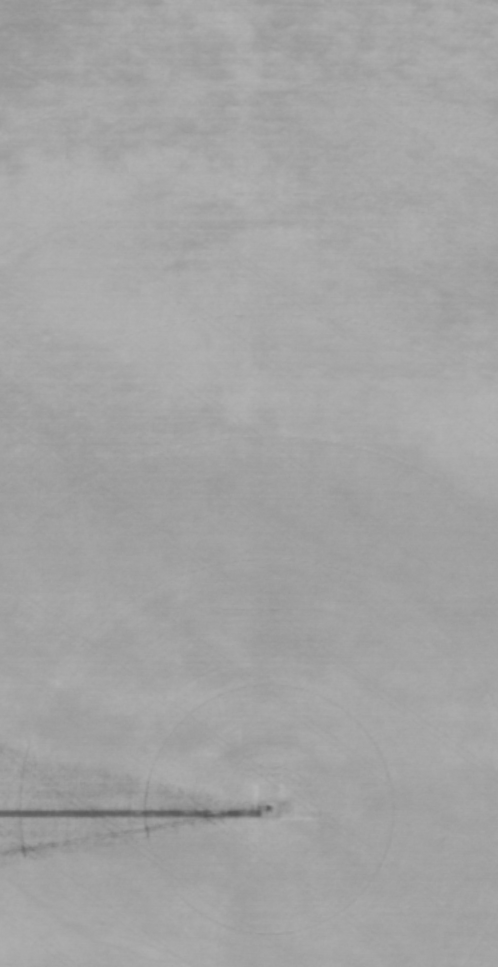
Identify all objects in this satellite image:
crop: (249, 483)

